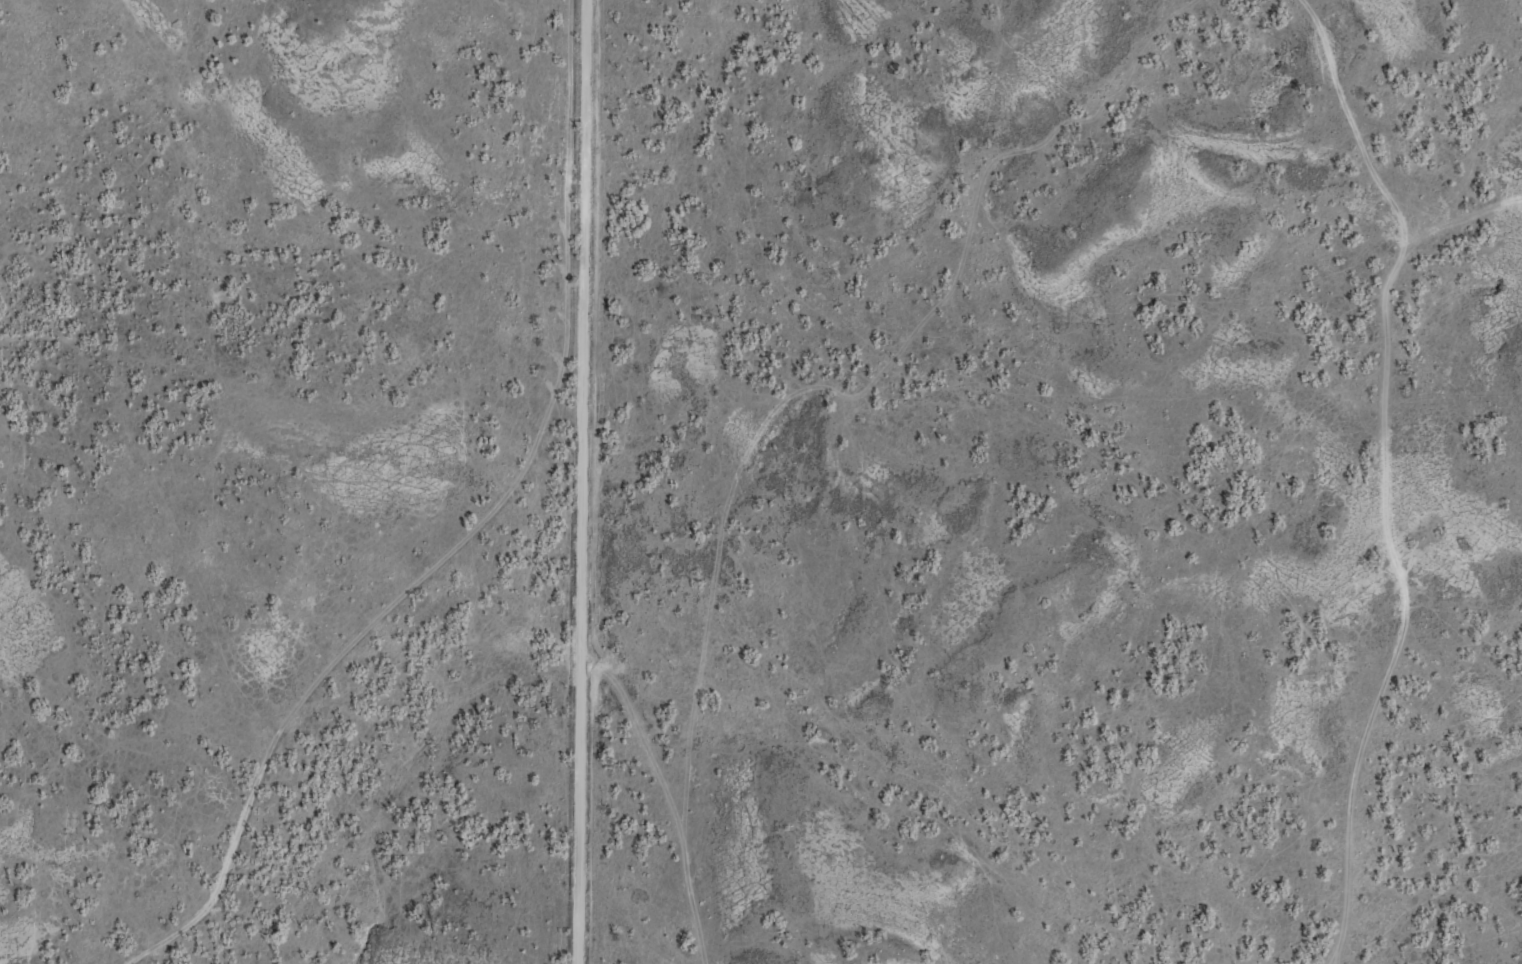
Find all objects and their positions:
road: (589, 250)
road: (342, 691)
road: (583, 731)

